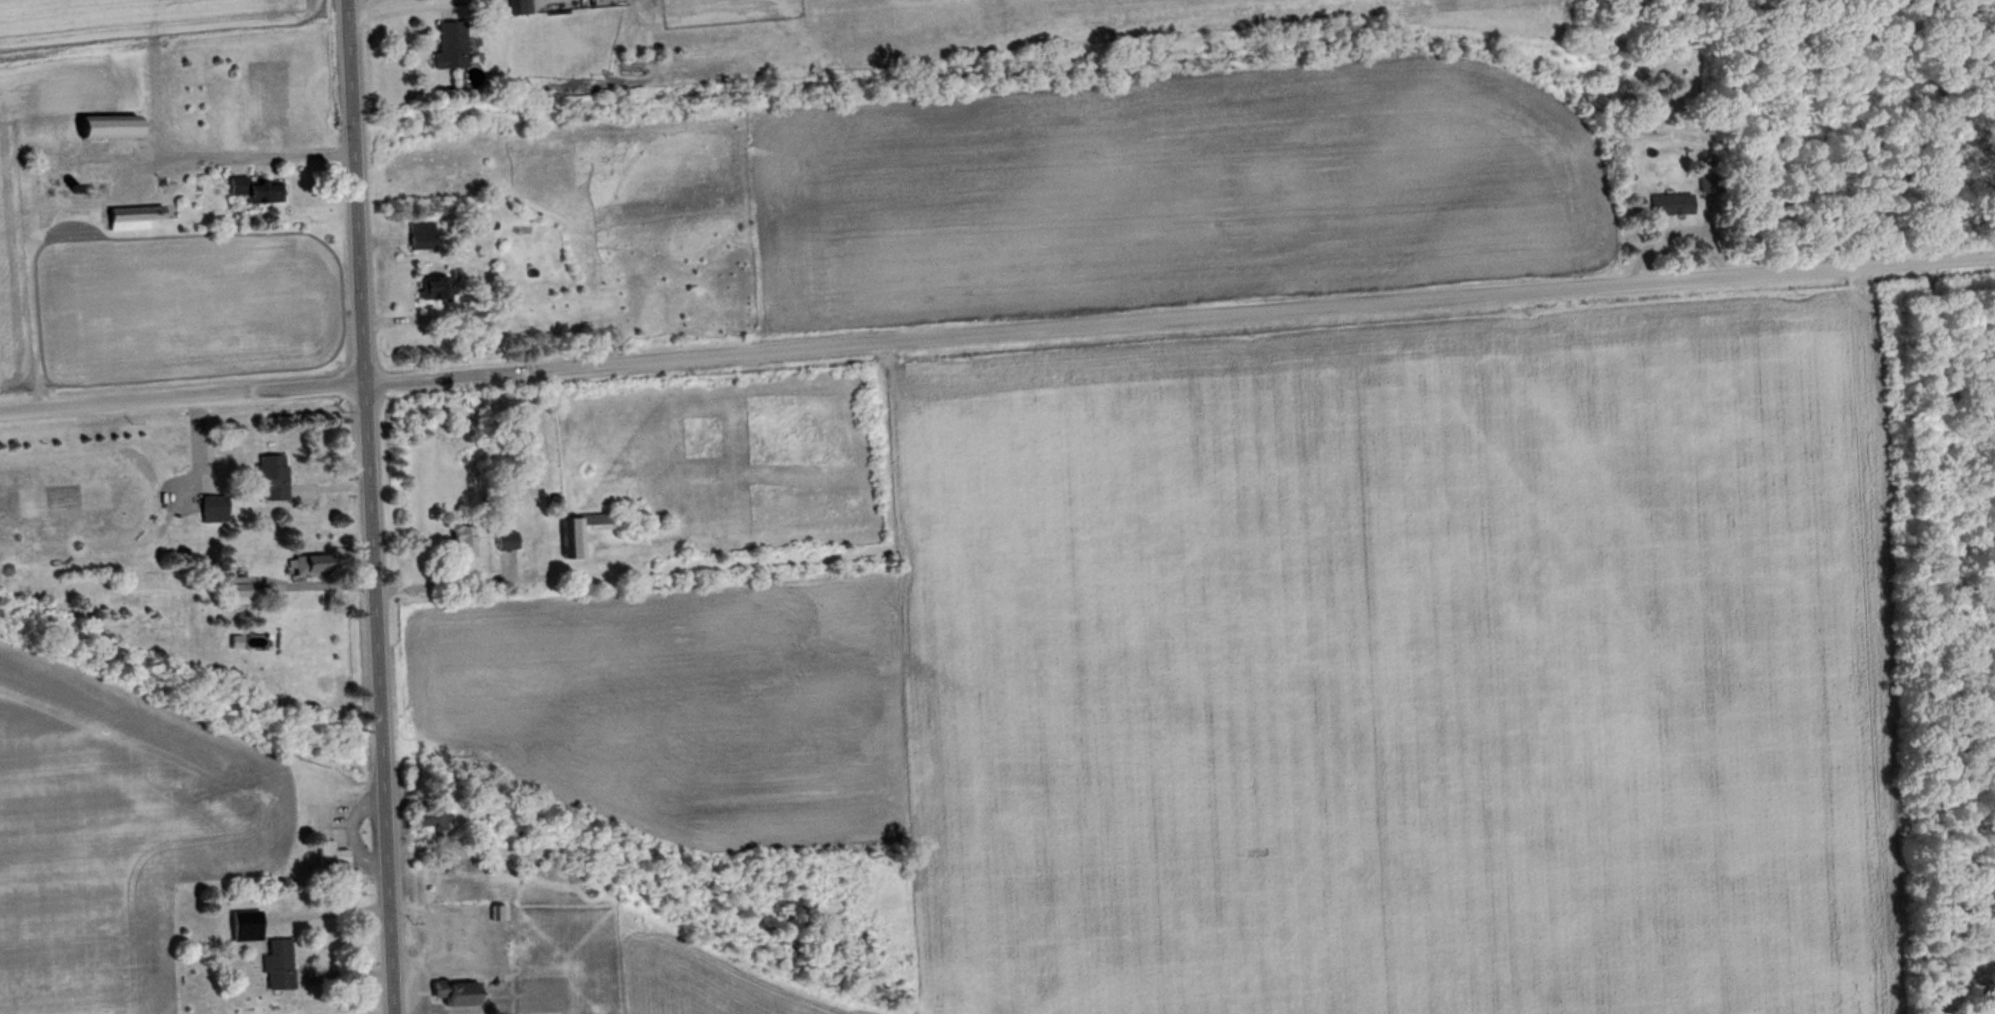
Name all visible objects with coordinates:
building: (520, 8)
building: (449, 47)
building: (104, 128)
road: (259, 157)
building: (1709, 187)
building: (257, 192)
building: (1673, 207)
building: (131, 218)
building: (421, 237)
building: (436, 289)
road: (997, 333)
building: (268, 478)
road: (364, 507)
building: (213, 510)
building: (579, 534)
building: (463, 542)
building: (507, 542)
building: (307, 566)
building: (430, 821)
building: (330, 856)
building: (245, 926)
building: (278, 967)
building: (451, 996)

